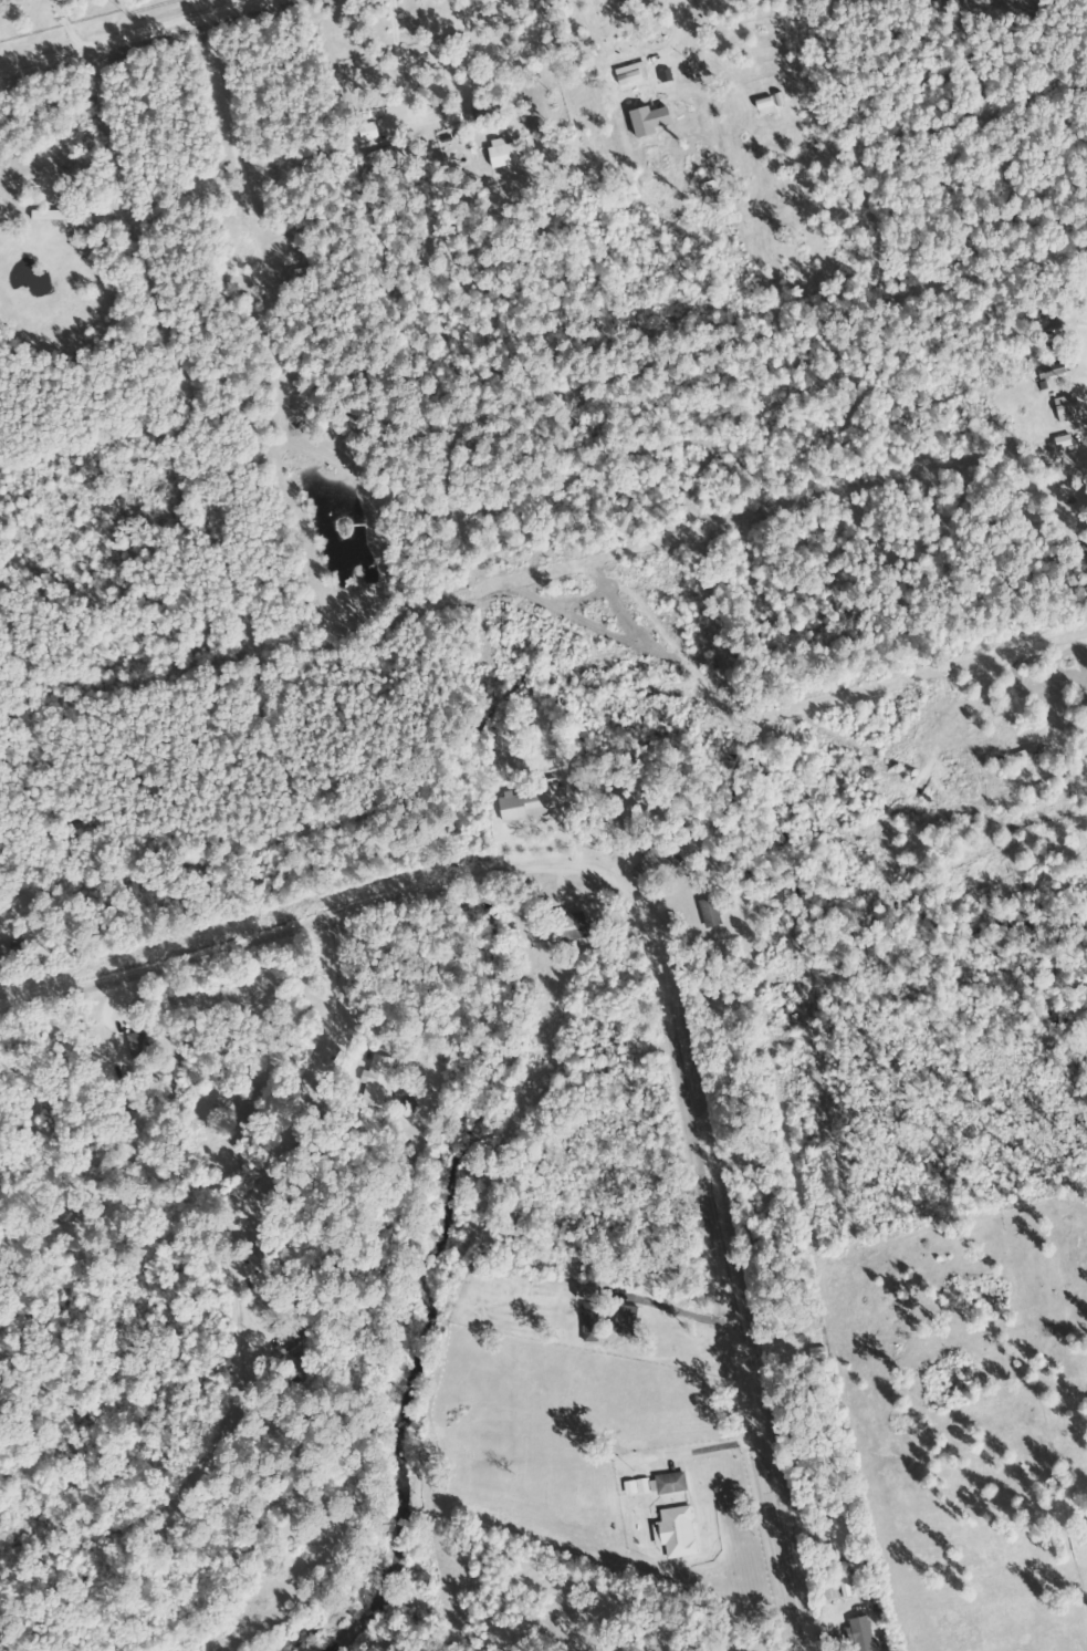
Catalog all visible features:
building: (529, 802)
building: (652, 861)
building: (704, 912)
building: (567, 926)
road: (669, 928)
building: (2, 954)
building: (135, 1048)
building: (592, 1071)
building: (374, 1081)
road: (473, 1124)
building: (587, 1322)
building: (291, 1338)
building: (658, 1485)
building: (672, 1533)
building: (858, 1634)

